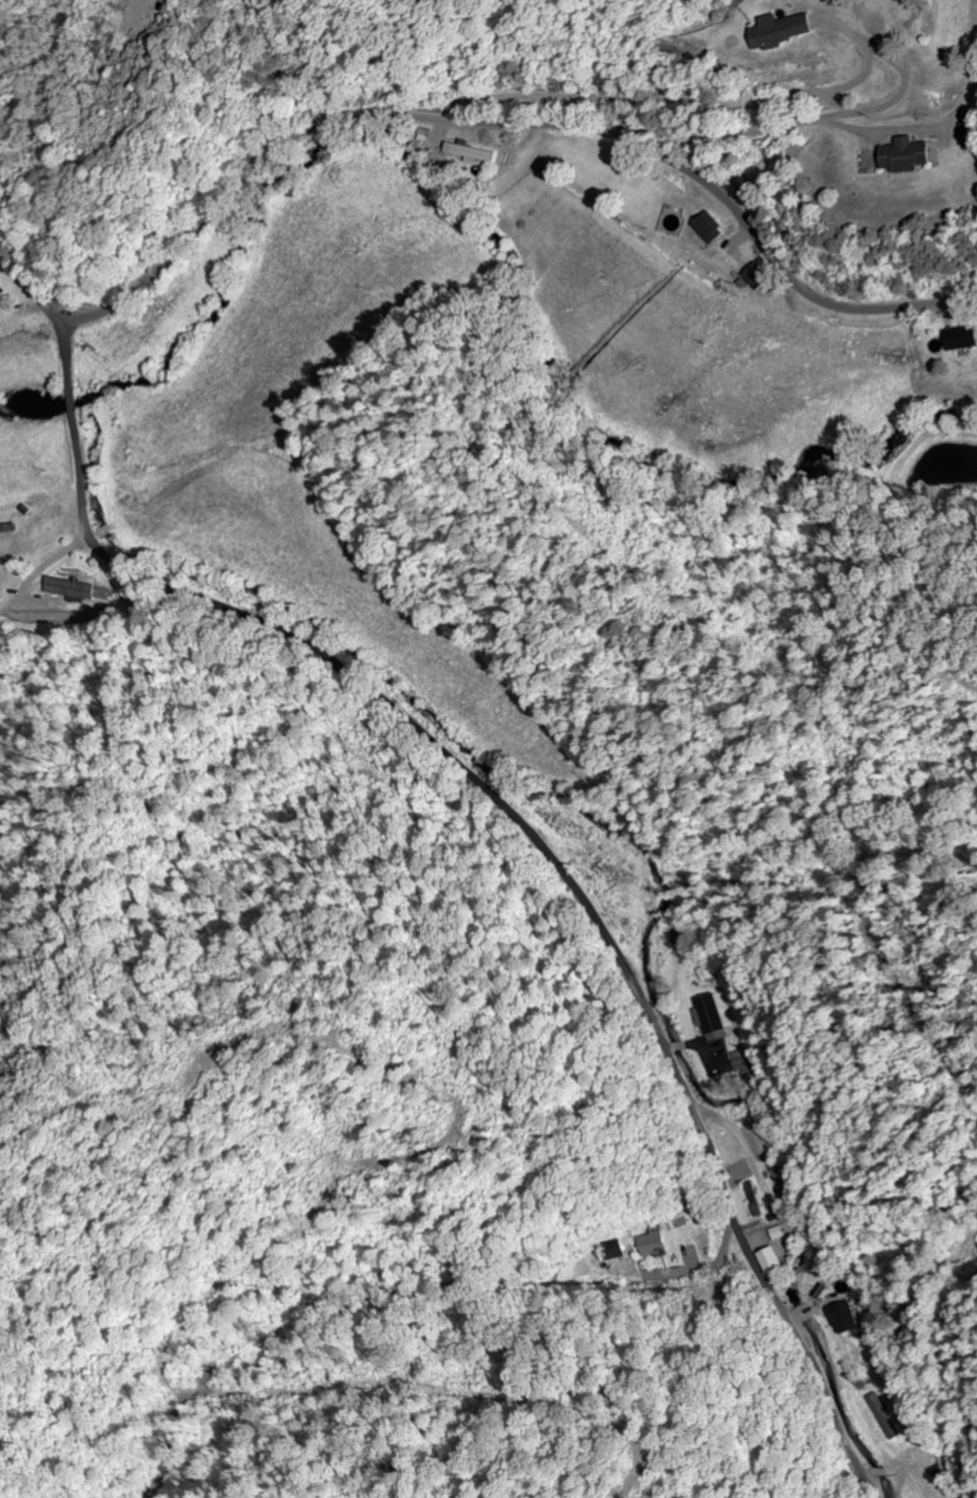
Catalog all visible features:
building: (787, 31)
road: (469, 119)
road: (792, 126)
building: (479, 153)
building: (912, 155)
building: (711, 227)
building: (758, 276)
building: (2, 289)
building: (963, 339)
building: (71, 589)
road: (528, 829)
building: (710, 1017)
building: (652, 1243)
building: (611, 1250)
building: (772, 1260)
building: (845, 1316)

